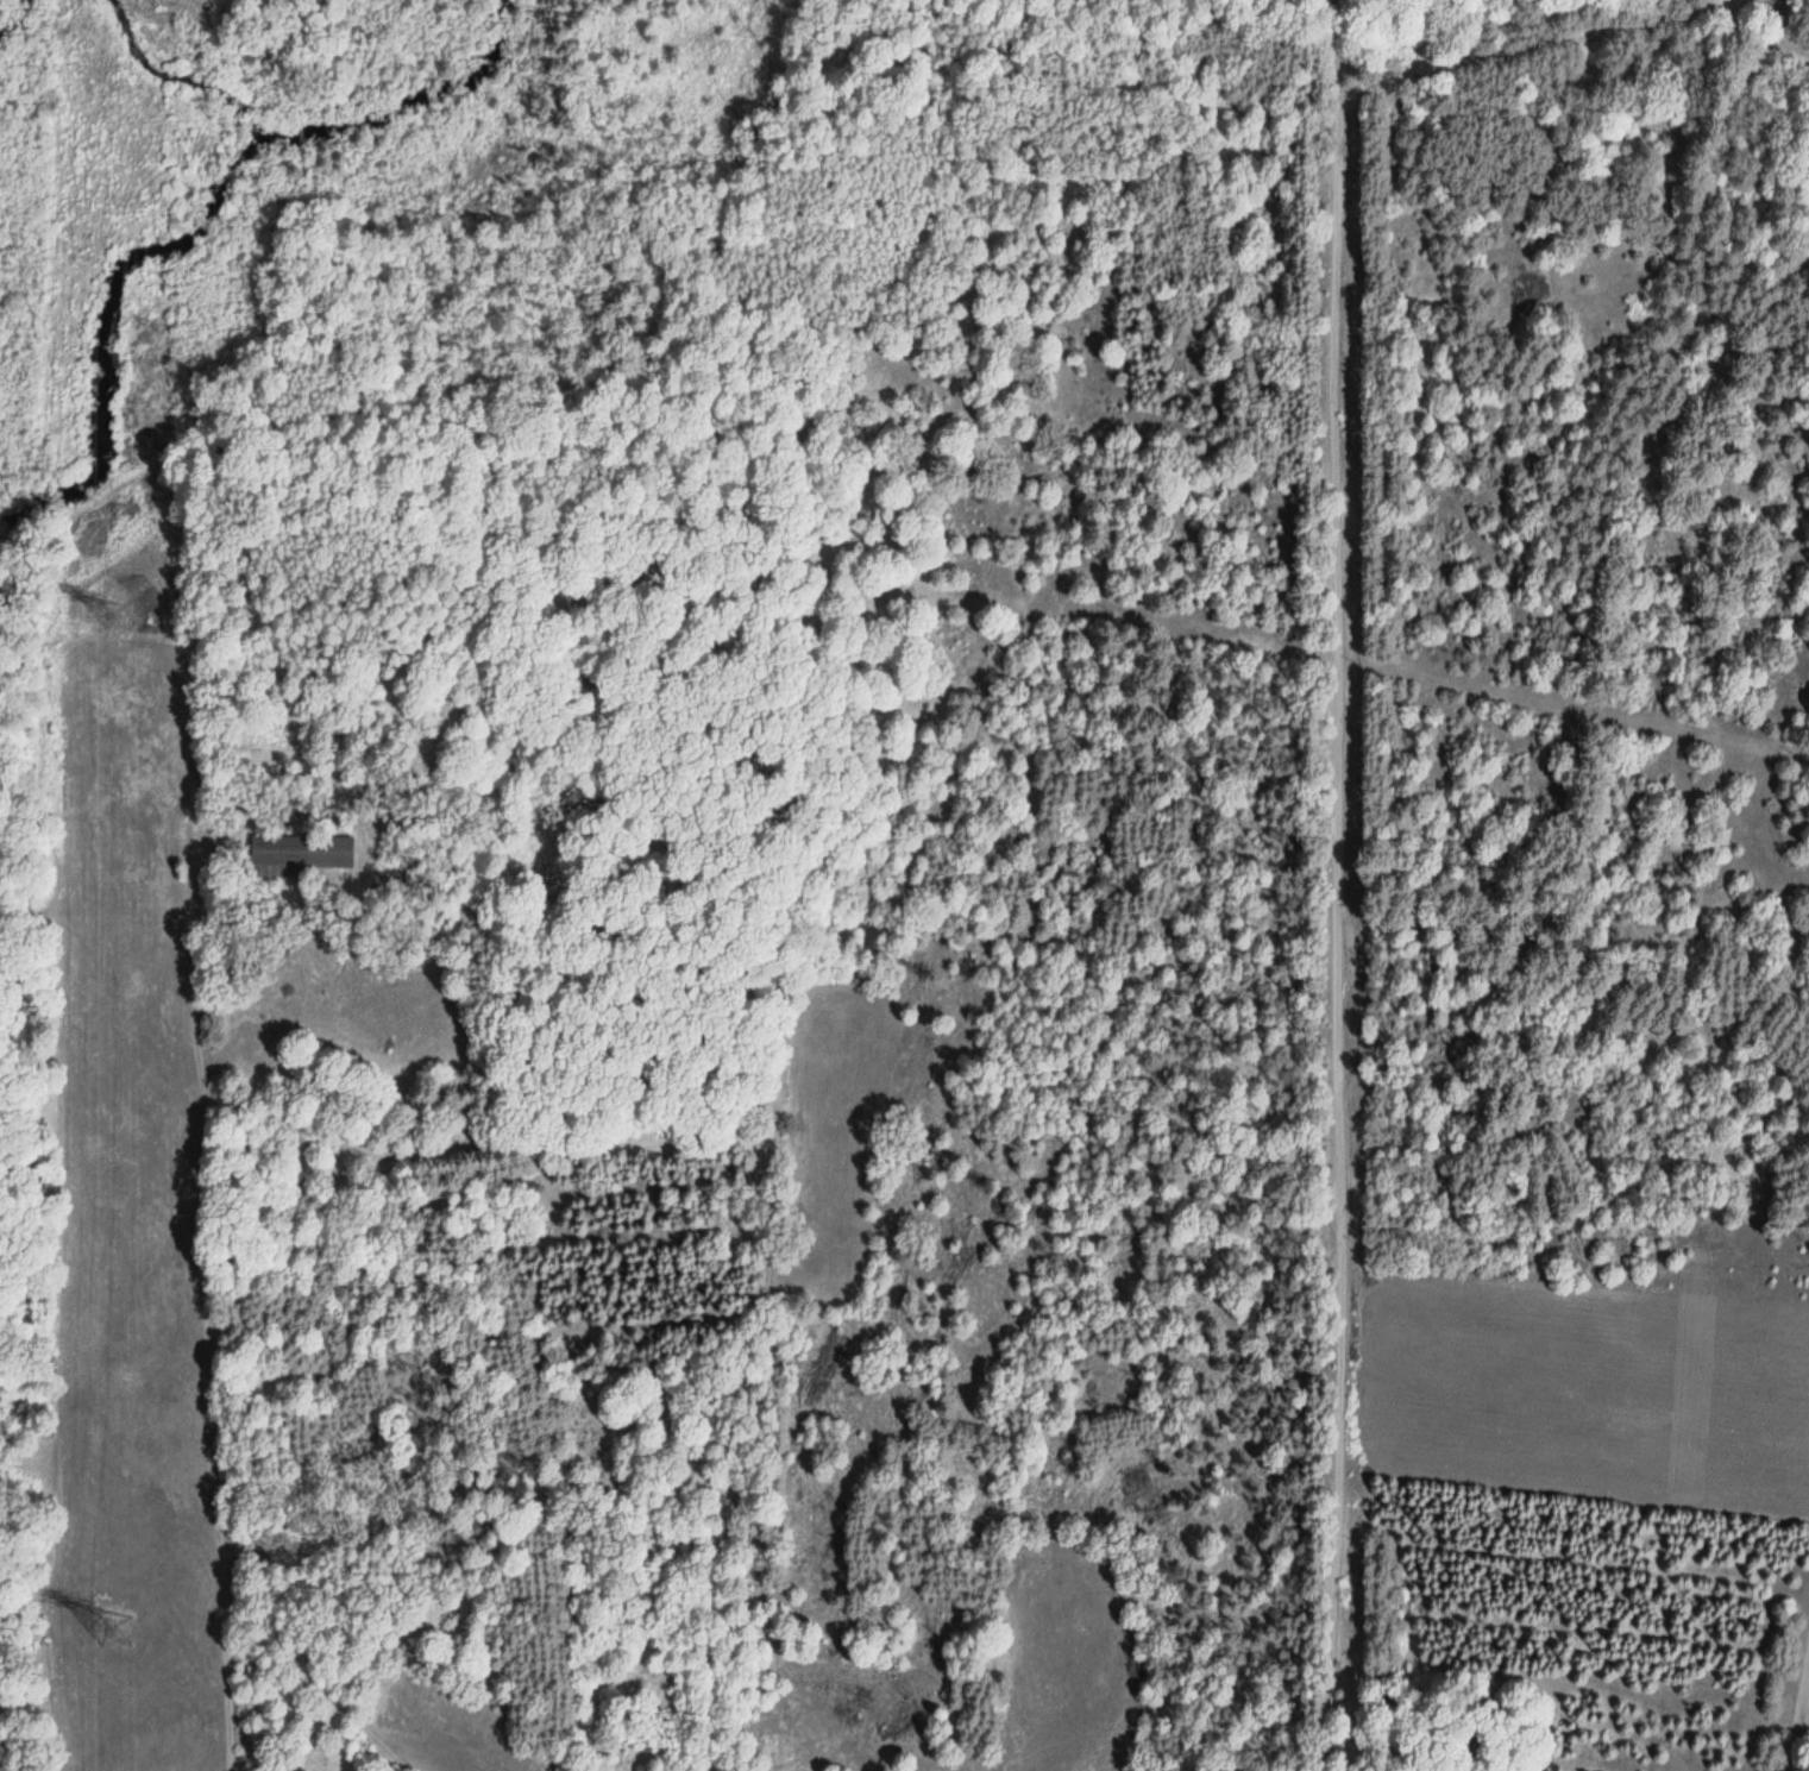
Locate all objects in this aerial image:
road: (1772, 67)
river: (200, 219)
power tower: (121, 610)
building: (302, 855)
road: (1313, 887)
power tower: (121, 1625)
road: (1795, 1690)

